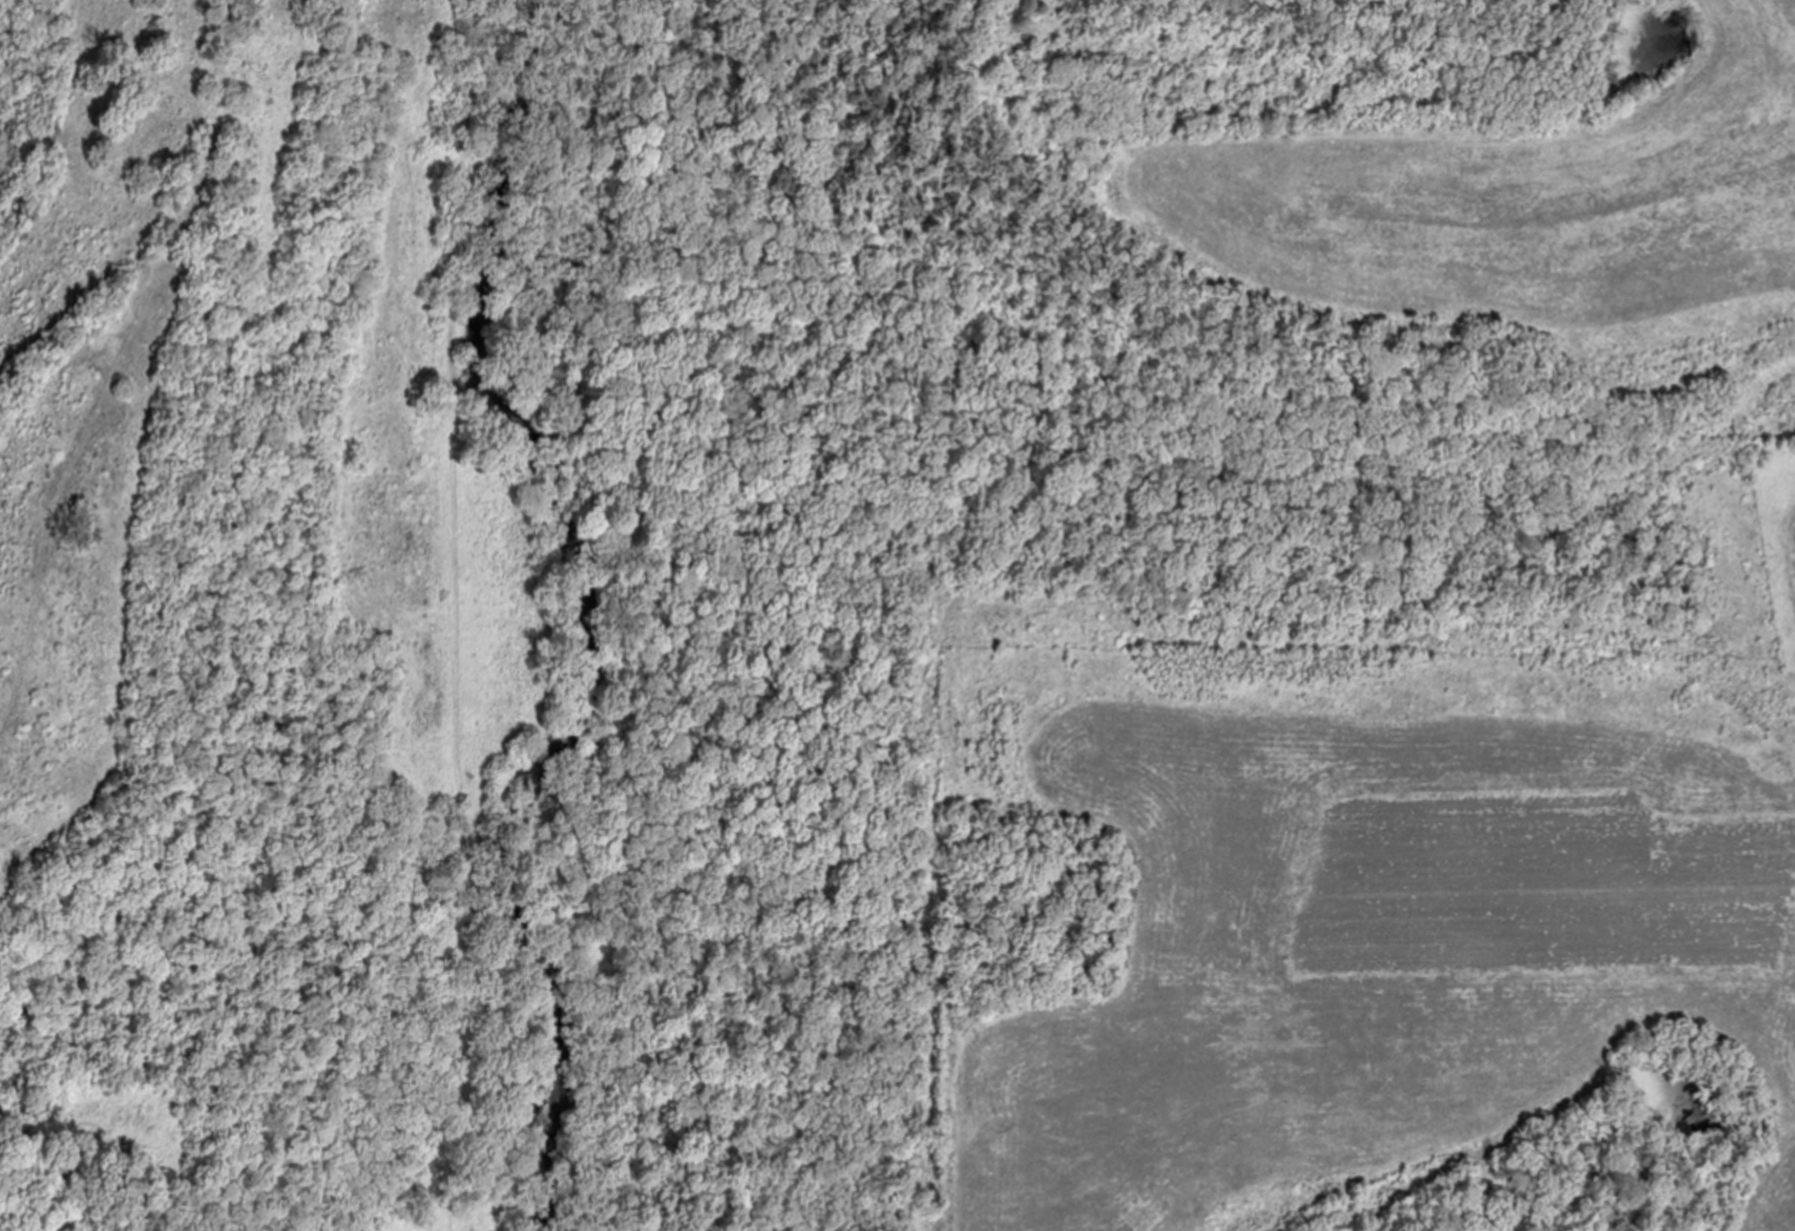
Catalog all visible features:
road: (1779, 325)

